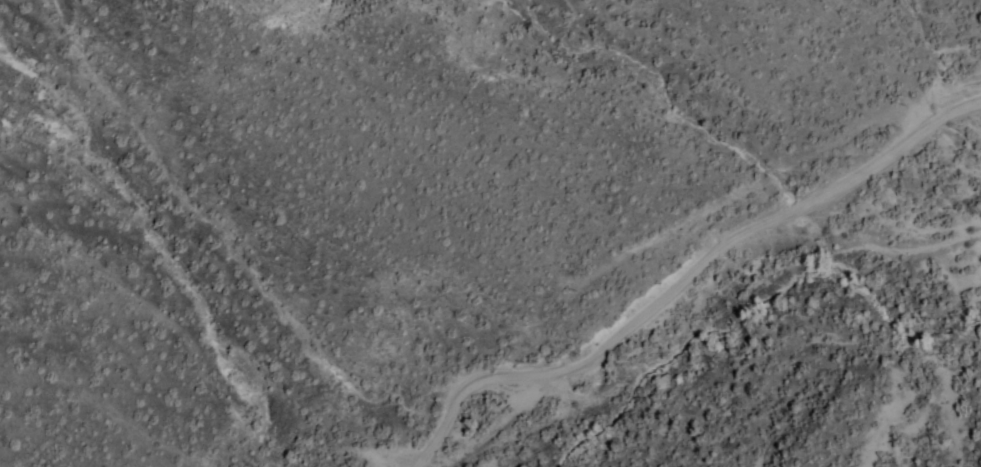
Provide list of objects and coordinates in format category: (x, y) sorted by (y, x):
road: (685, 282)

